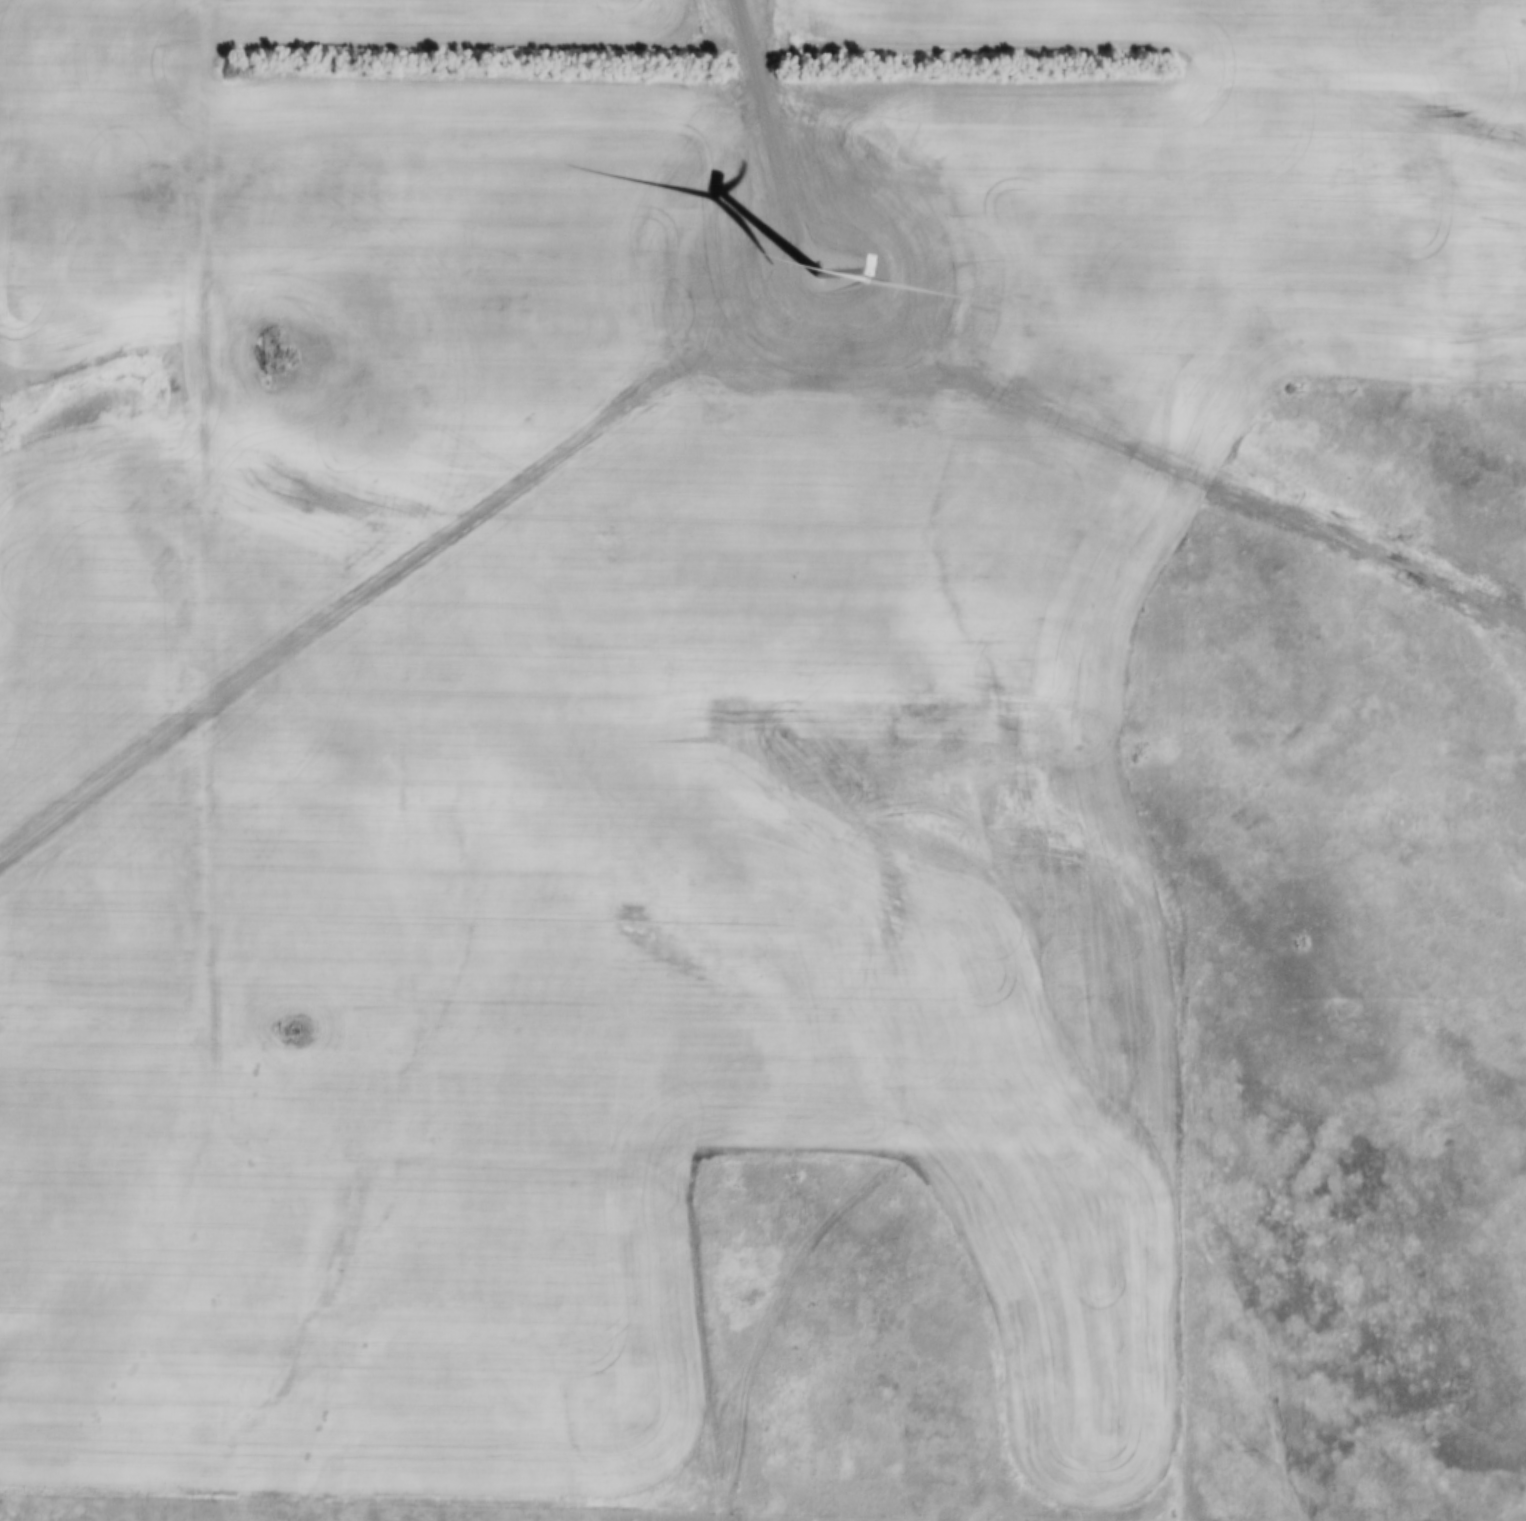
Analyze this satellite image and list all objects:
road: (796, 163)
wind turbine: (812, 270)

